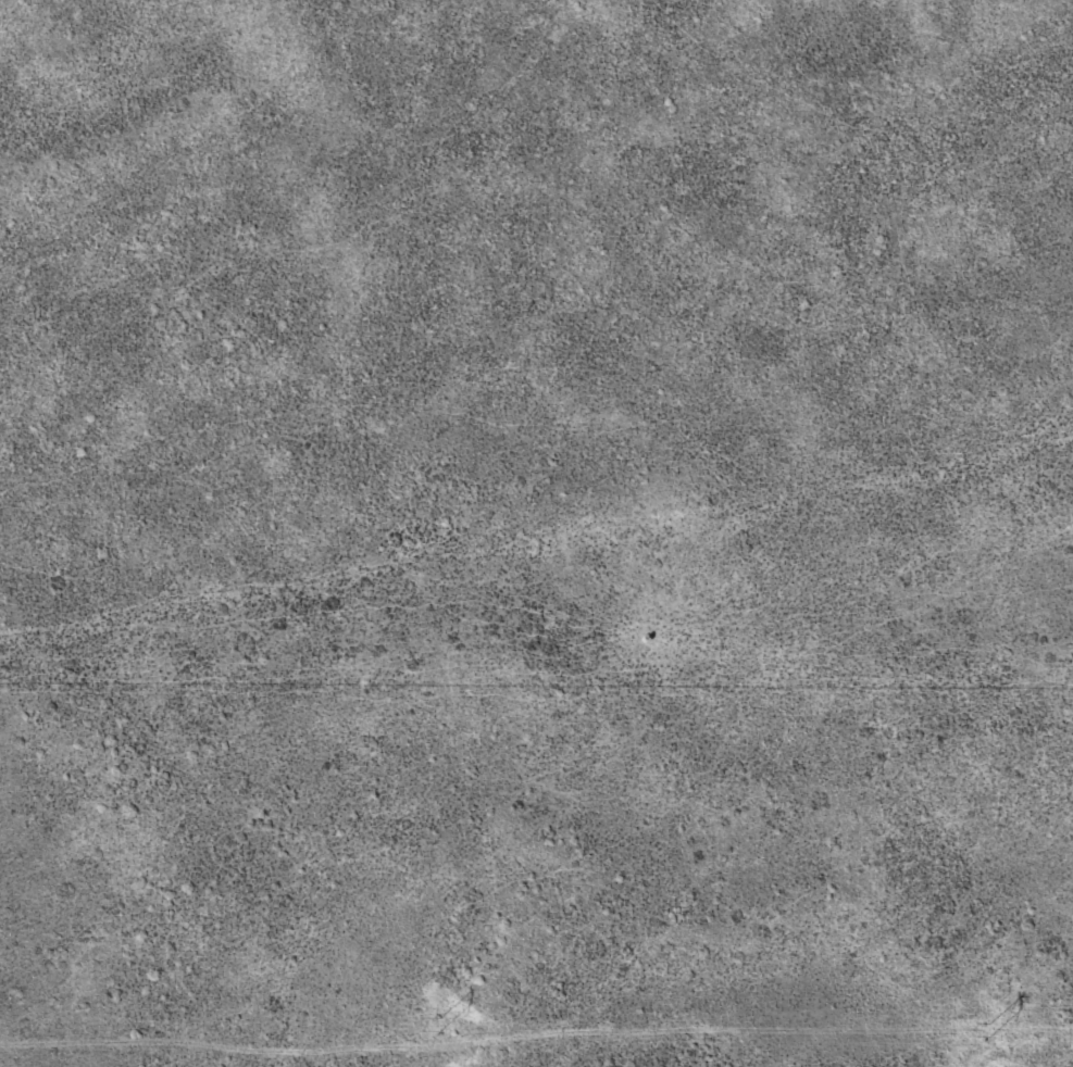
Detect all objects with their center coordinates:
power tower: (440, 1025)
power tower: (994, 1026)

